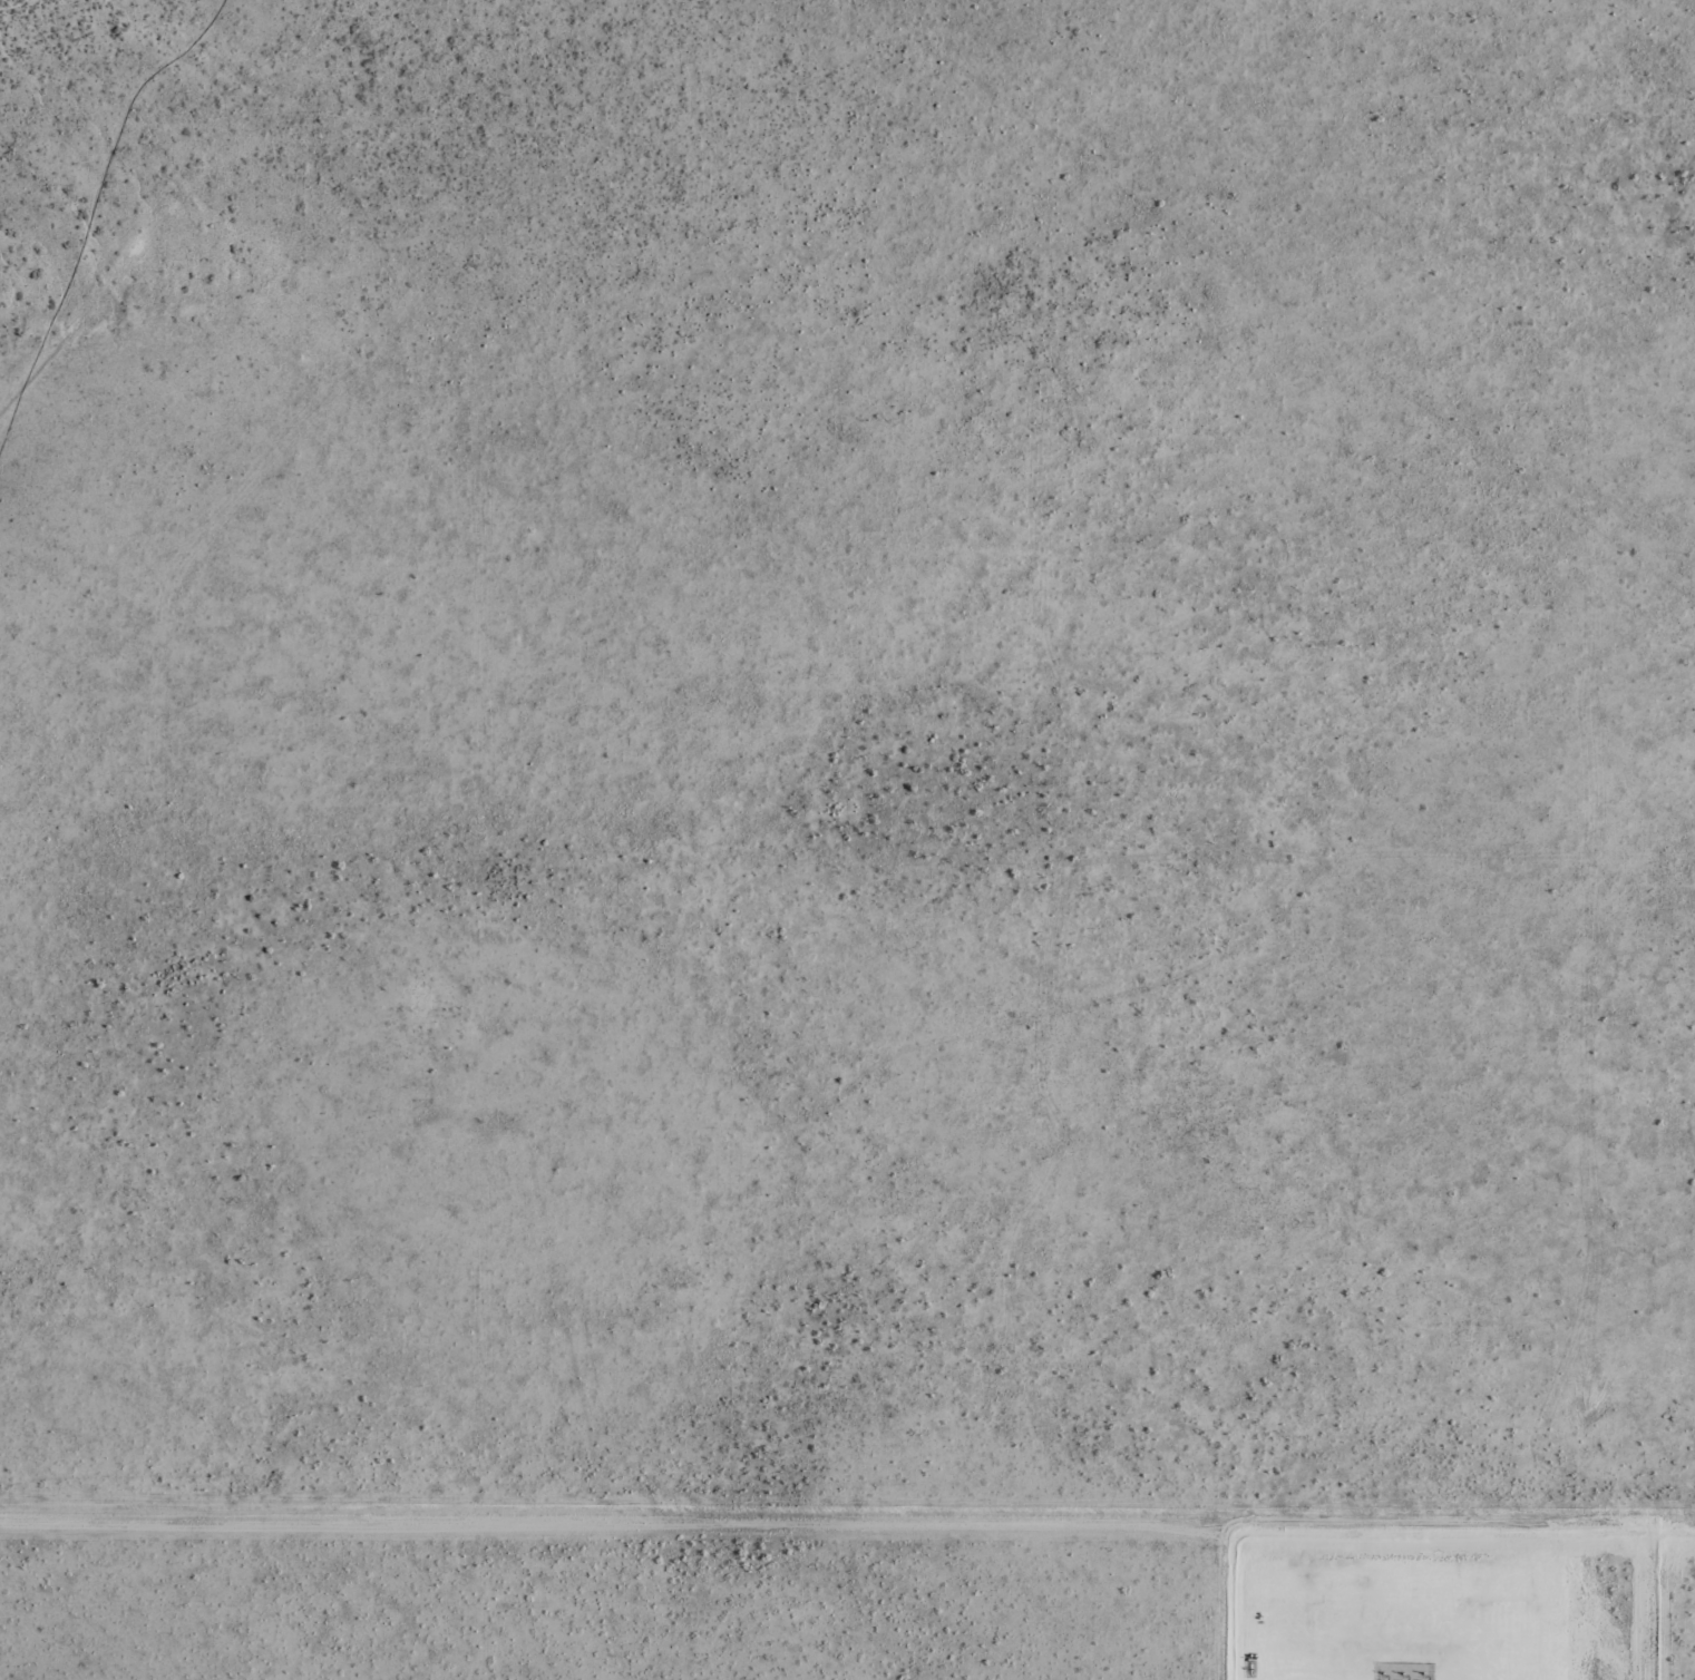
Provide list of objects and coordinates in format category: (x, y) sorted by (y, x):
road: (1404, 1618)

